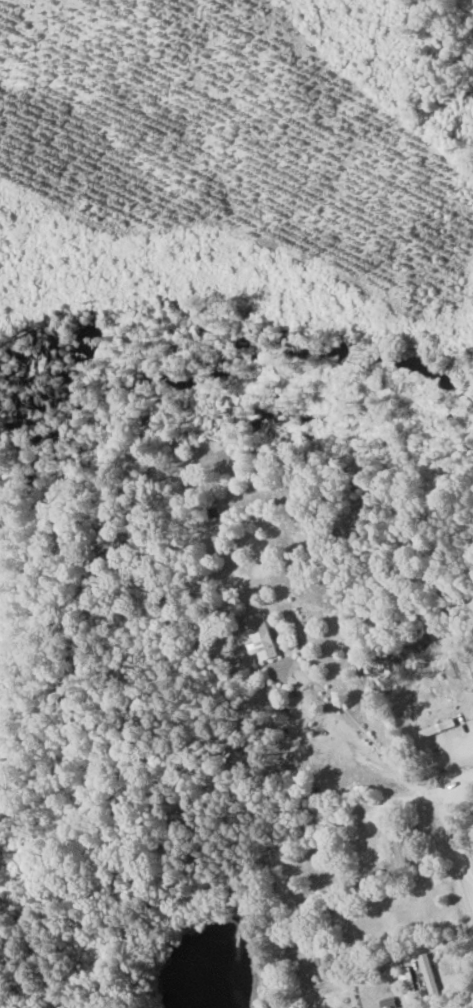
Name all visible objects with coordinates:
building: (264, 639)
road: (371, 739)
road: (449, 837)
building: (409, 983)

